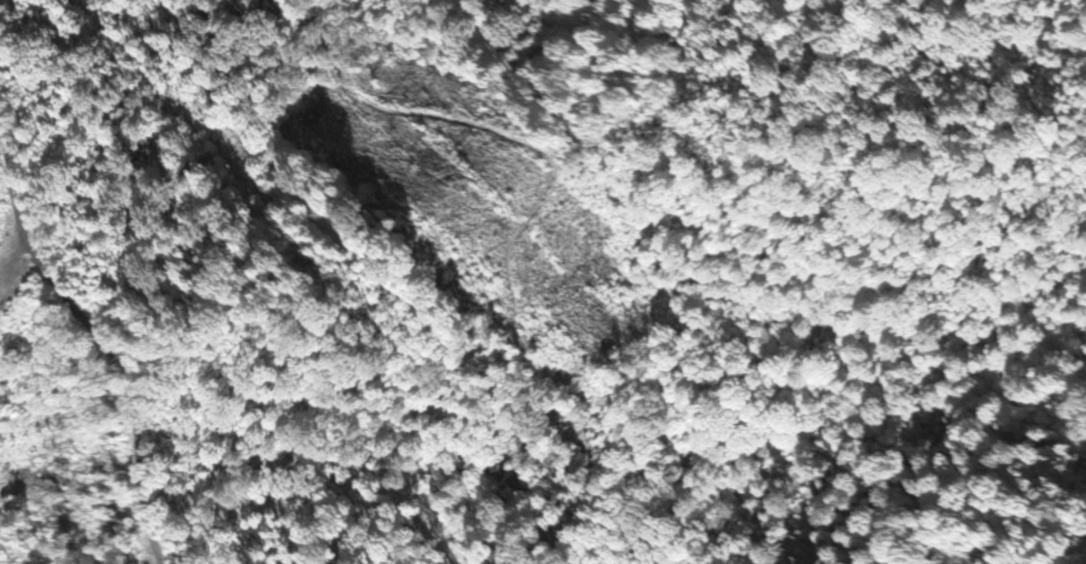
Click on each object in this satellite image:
road: (13, 169)

